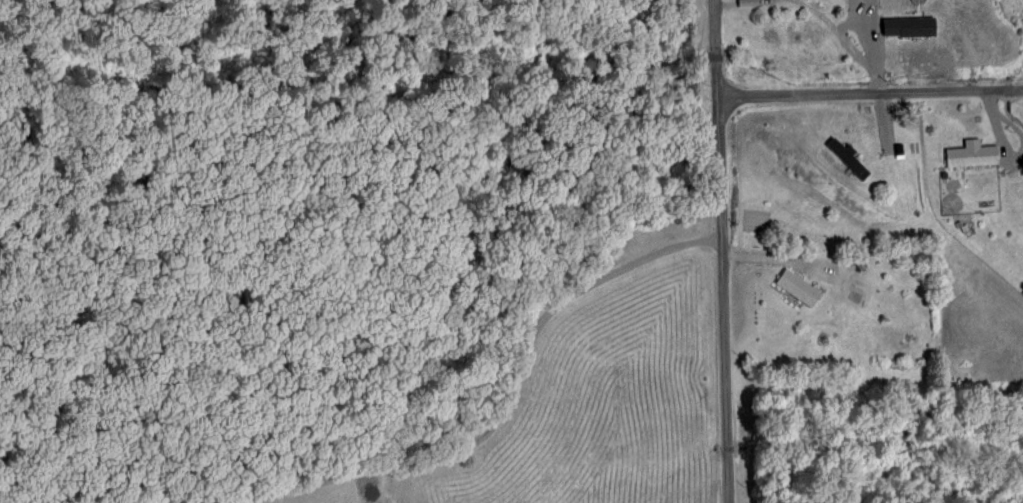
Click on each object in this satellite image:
building: (876, 4)
road: (864, 91)
building: (969, 156)
building: (846, 159)
road: (719, 251)
building: (795, 288)

